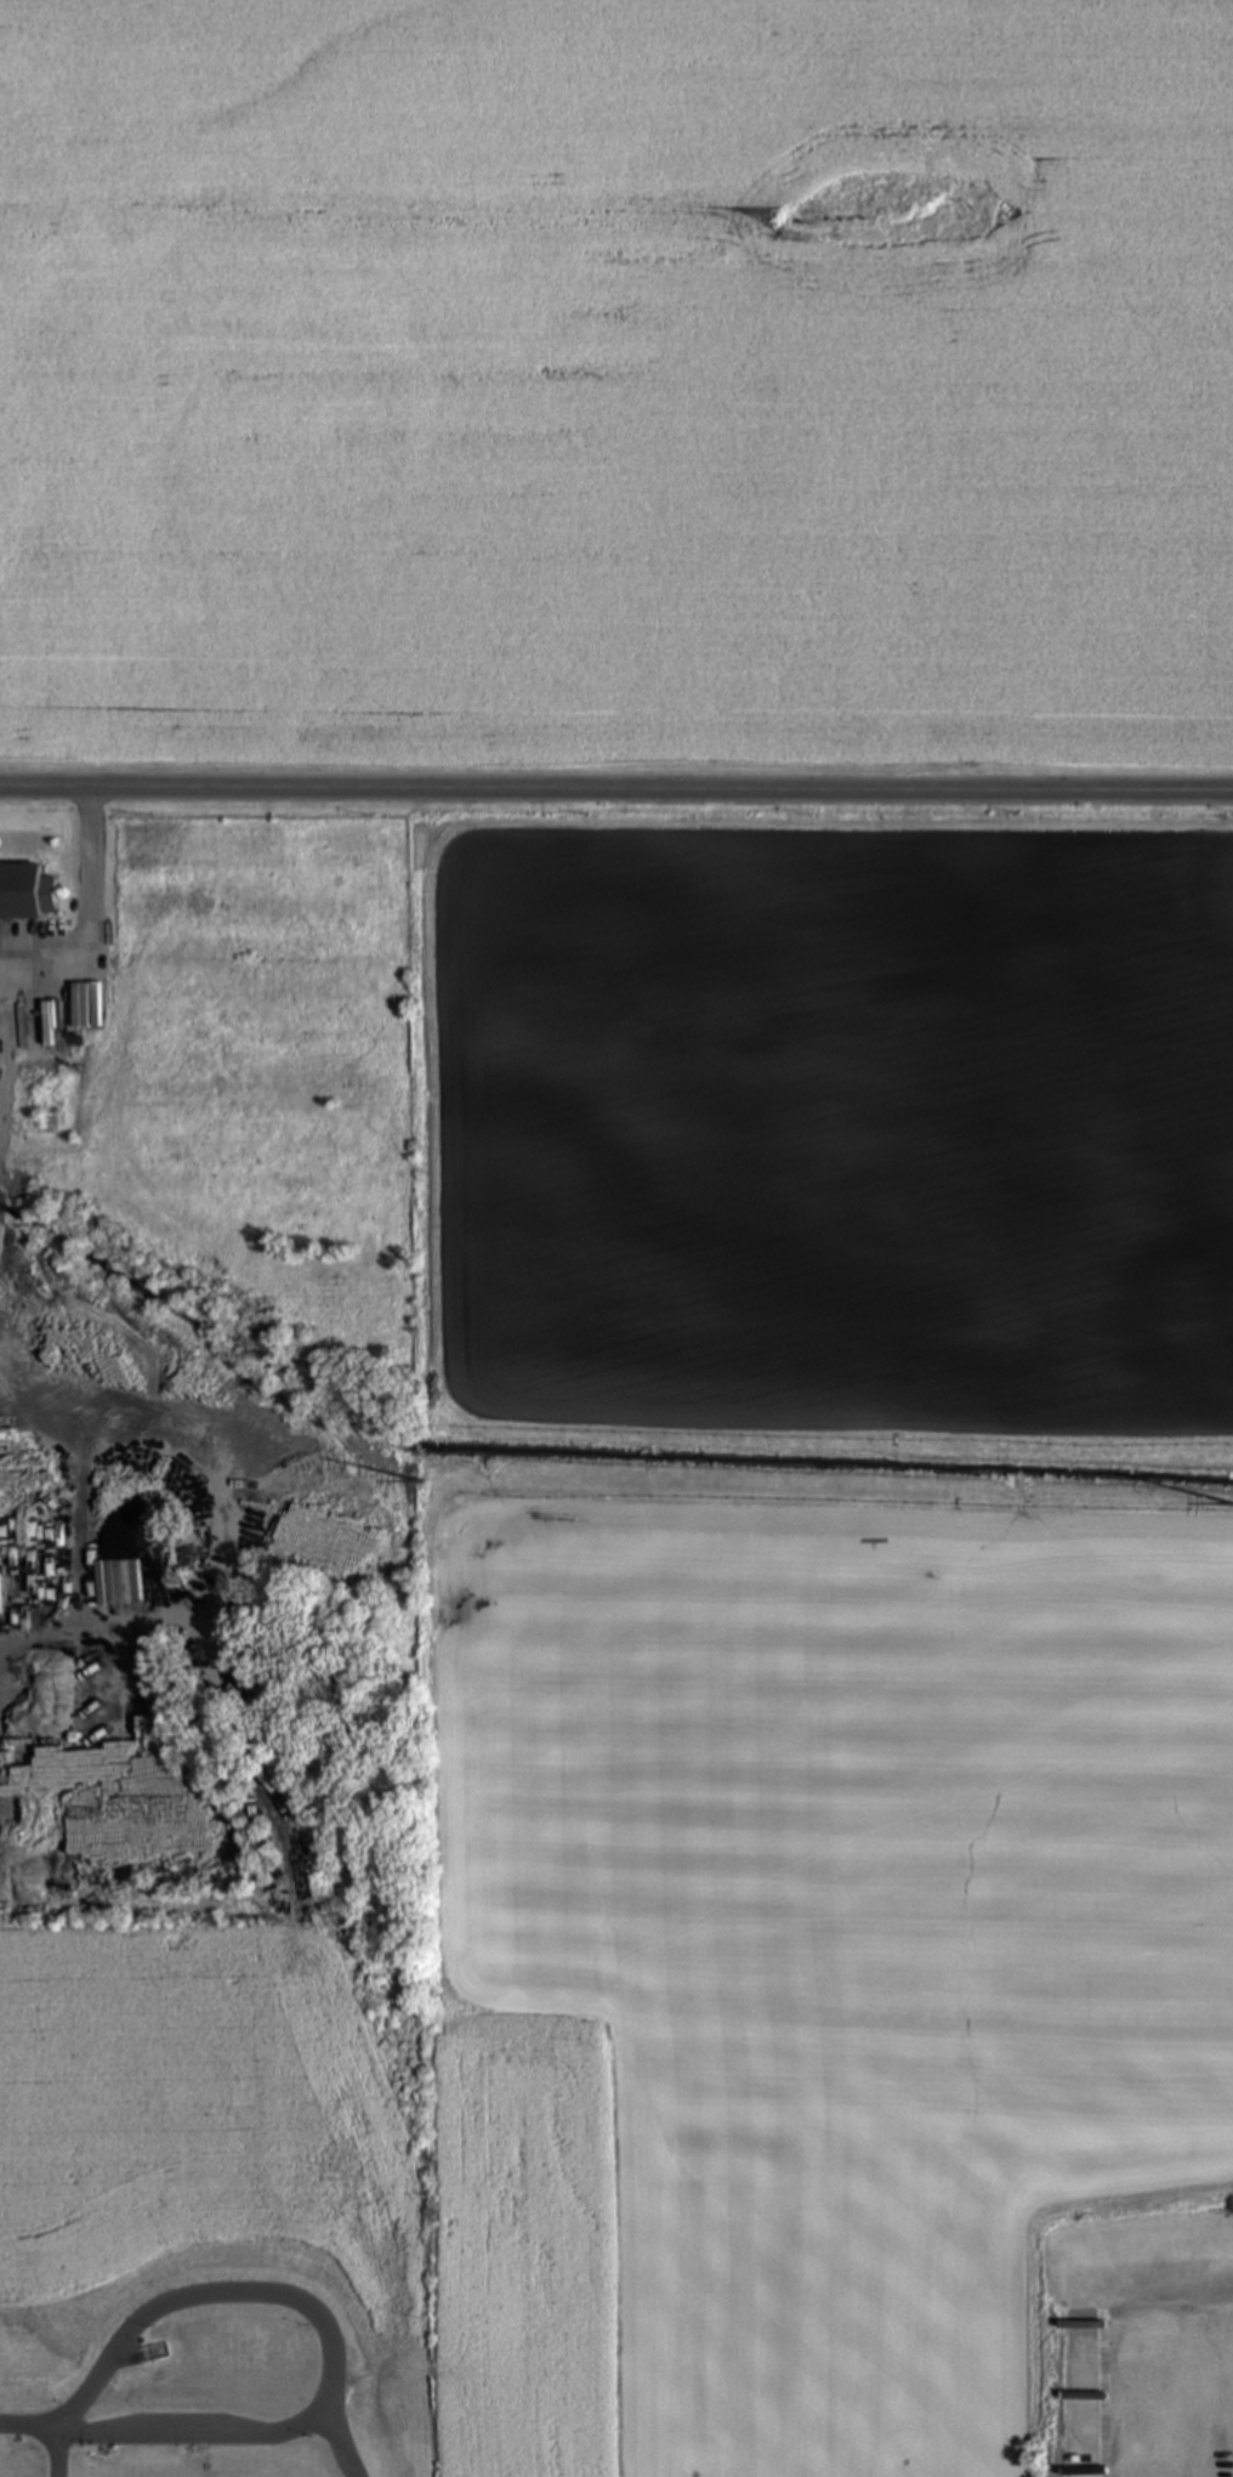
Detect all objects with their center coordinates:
road: (615, 793)
building: (25, 894)
road: (90, 917)
power tower: (420, 1483)
road: (2, 1673)
road: (1160, 2384)
road: (42, 2438)
wastewater plant: (211, 2448)

